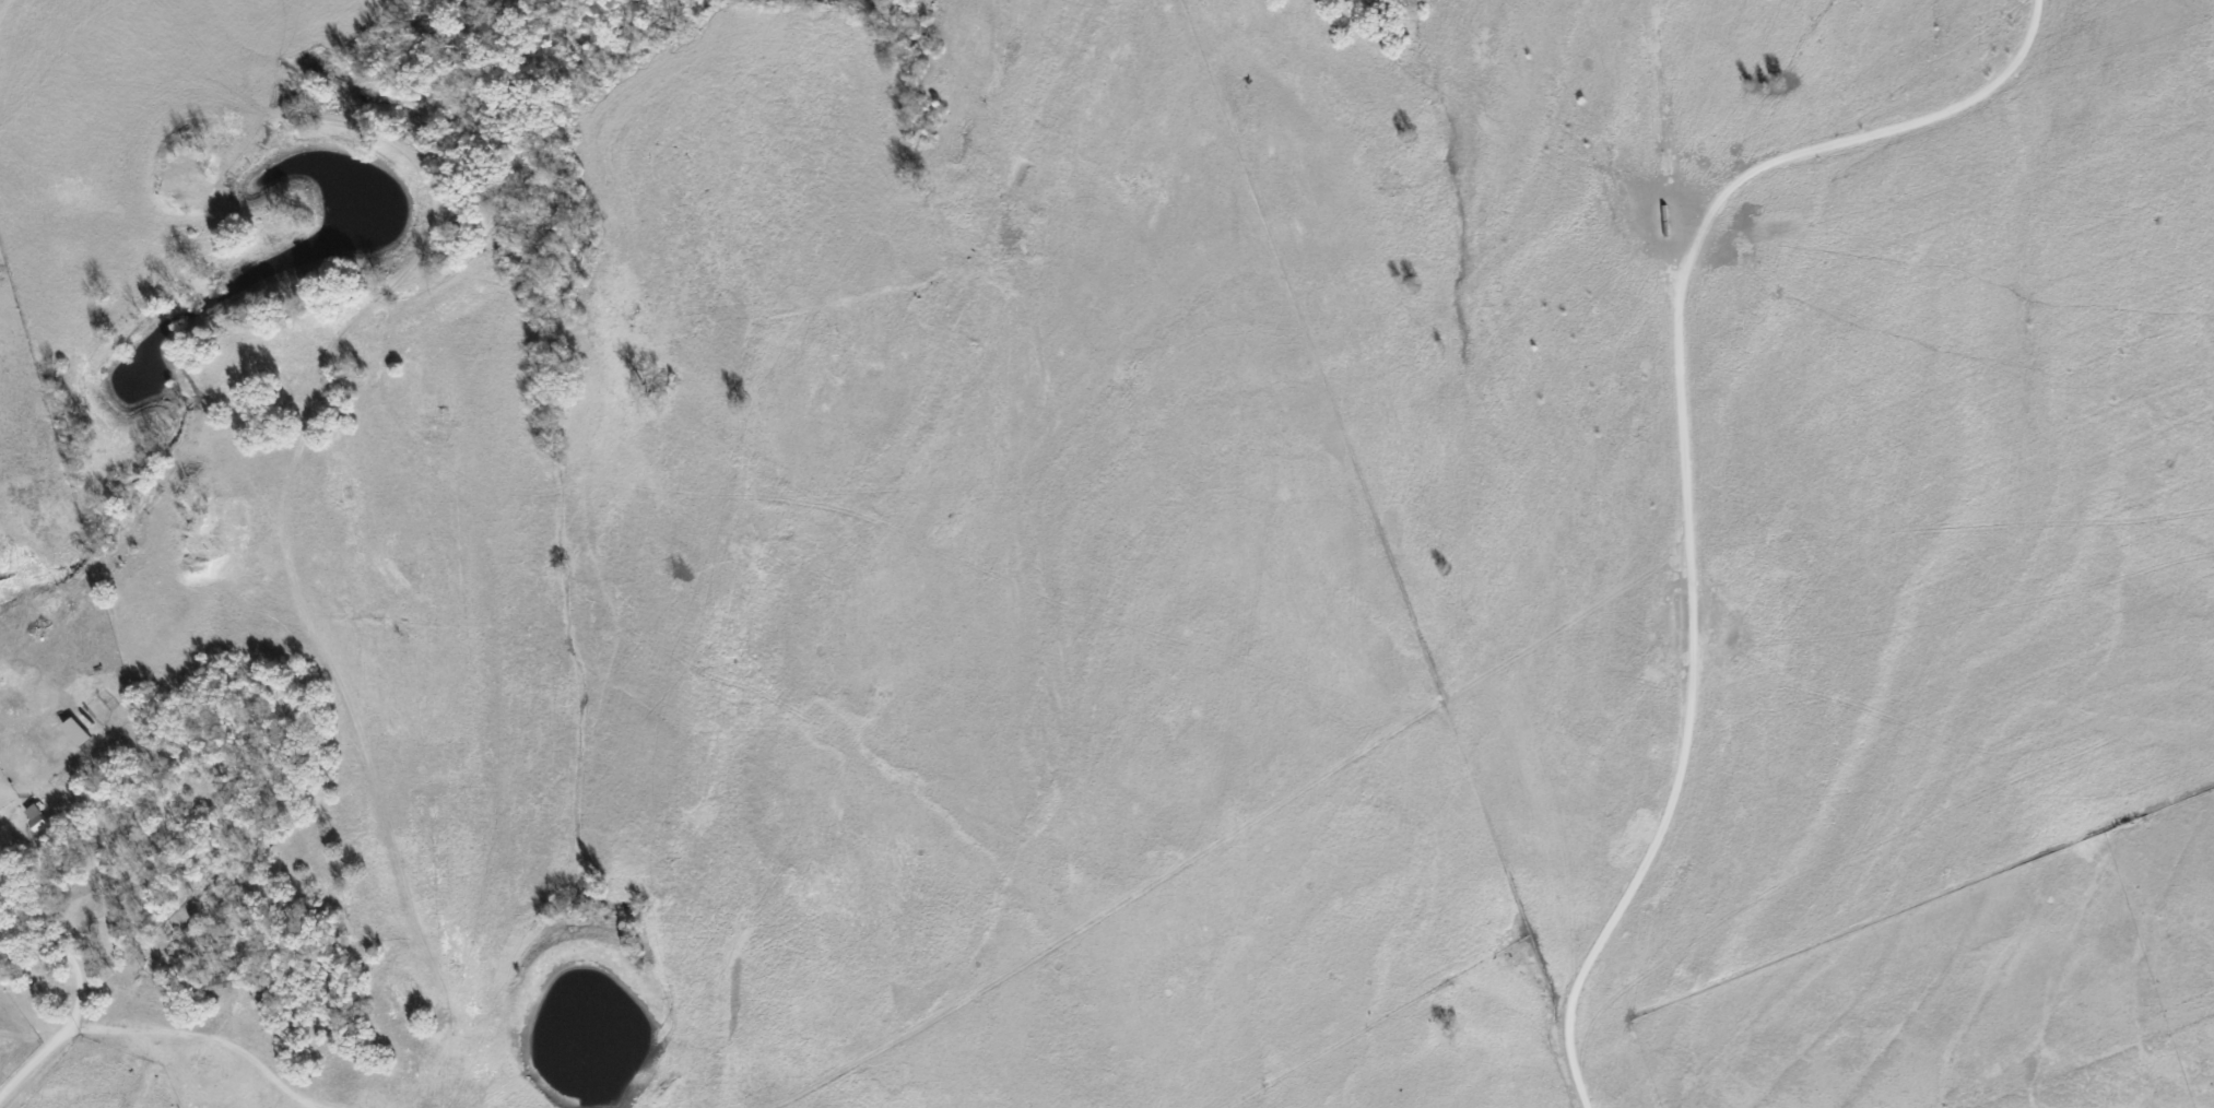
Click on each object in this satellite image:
road: (1683, 463)
building: (35, 820)
road: (75, 1011)

